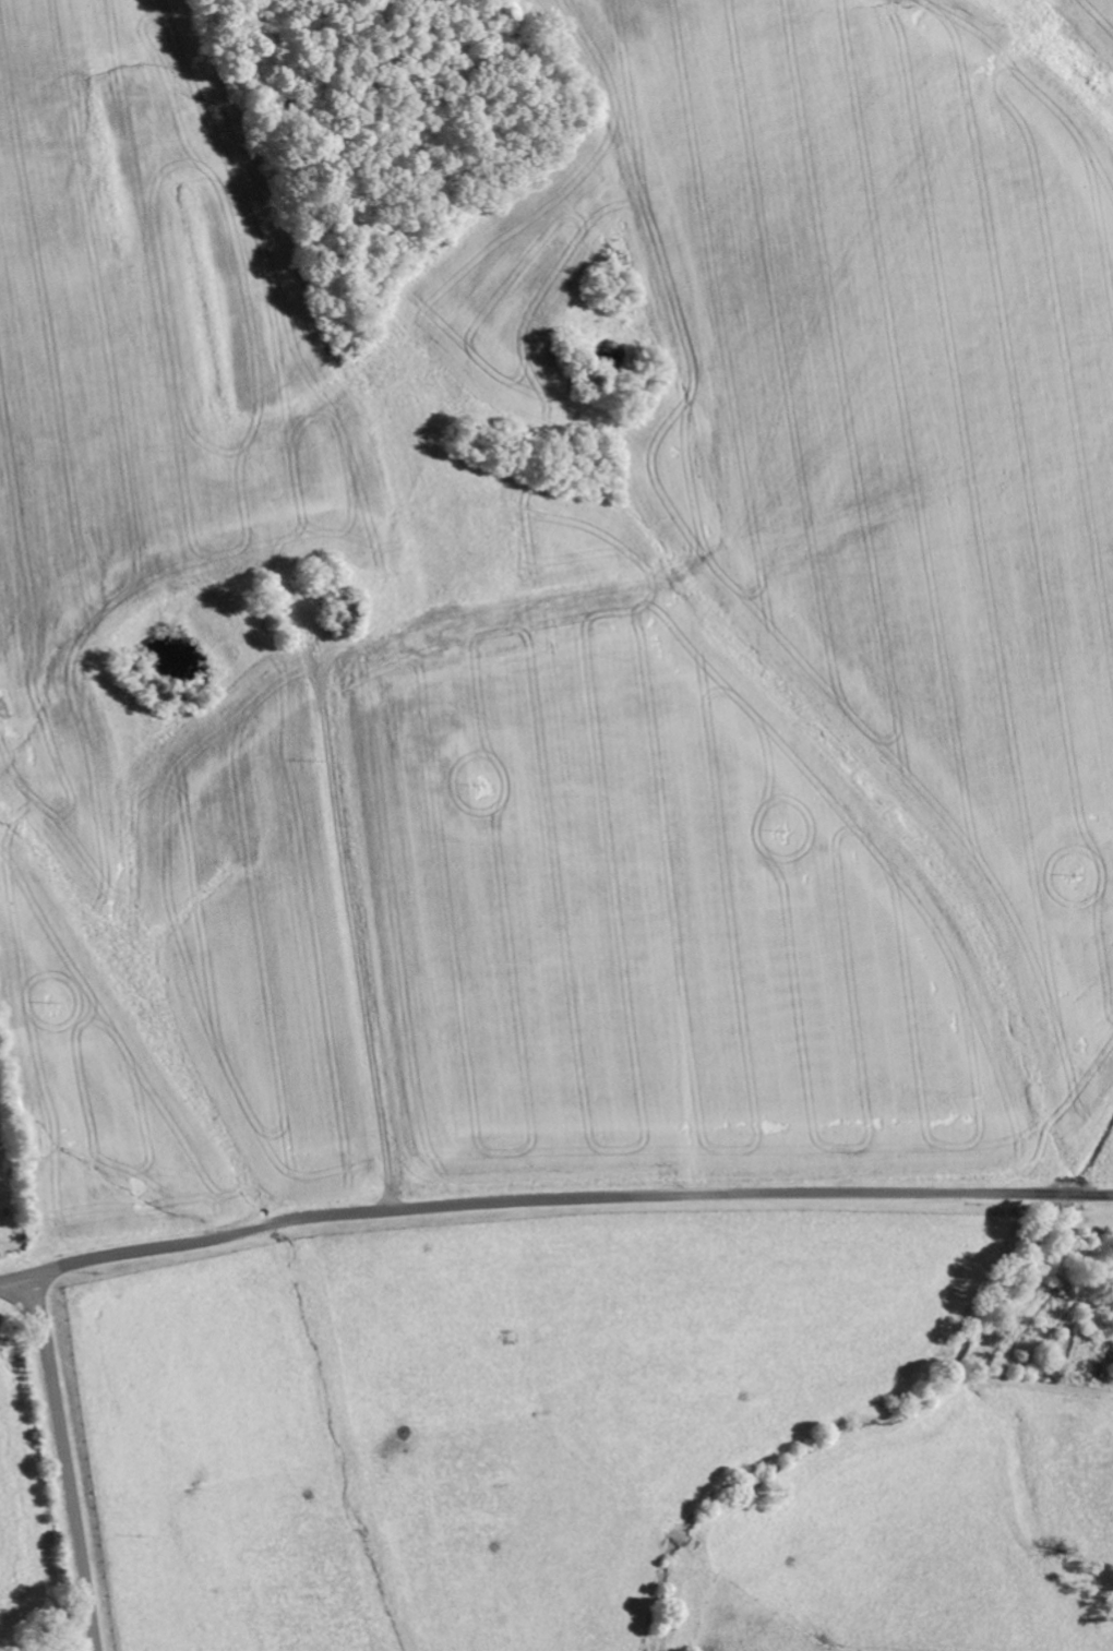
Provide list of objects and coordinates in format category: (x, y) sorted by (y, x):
road: (354, 906)
road: (567, 1201)
road: (14, 1278)
road: (64, 1462)

